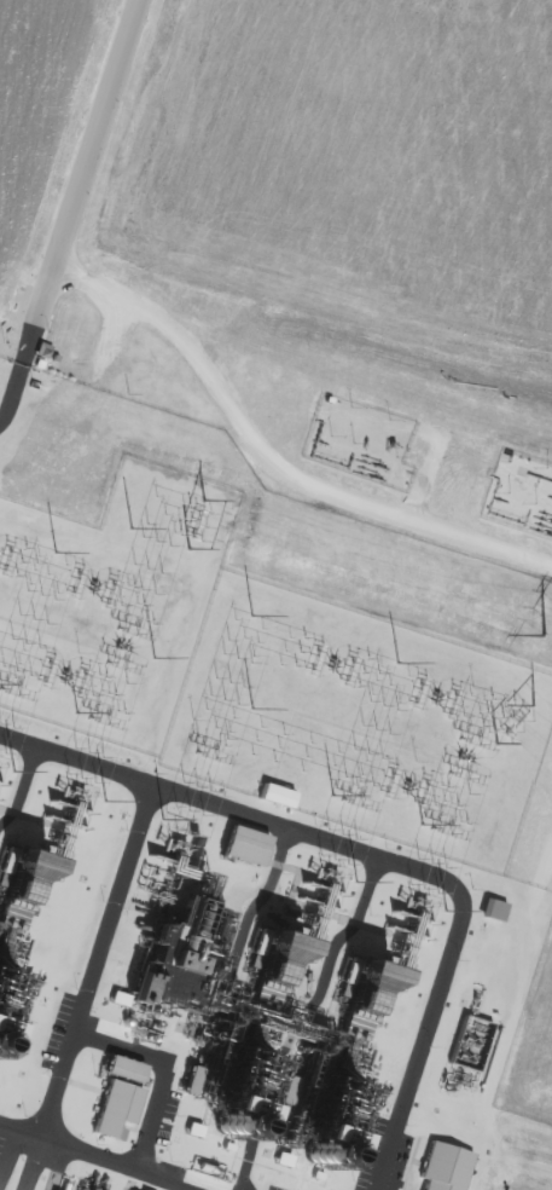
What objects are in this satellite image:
road: (85, 160)
power substation: (111, 603)
power tower: (544, 636)
power substation: (362, 721)
power plant: (269, 753)
building: (117, 1105)
chimney: (225, 1127)
chimney: (314, 1156)
building: (446, 1166)

